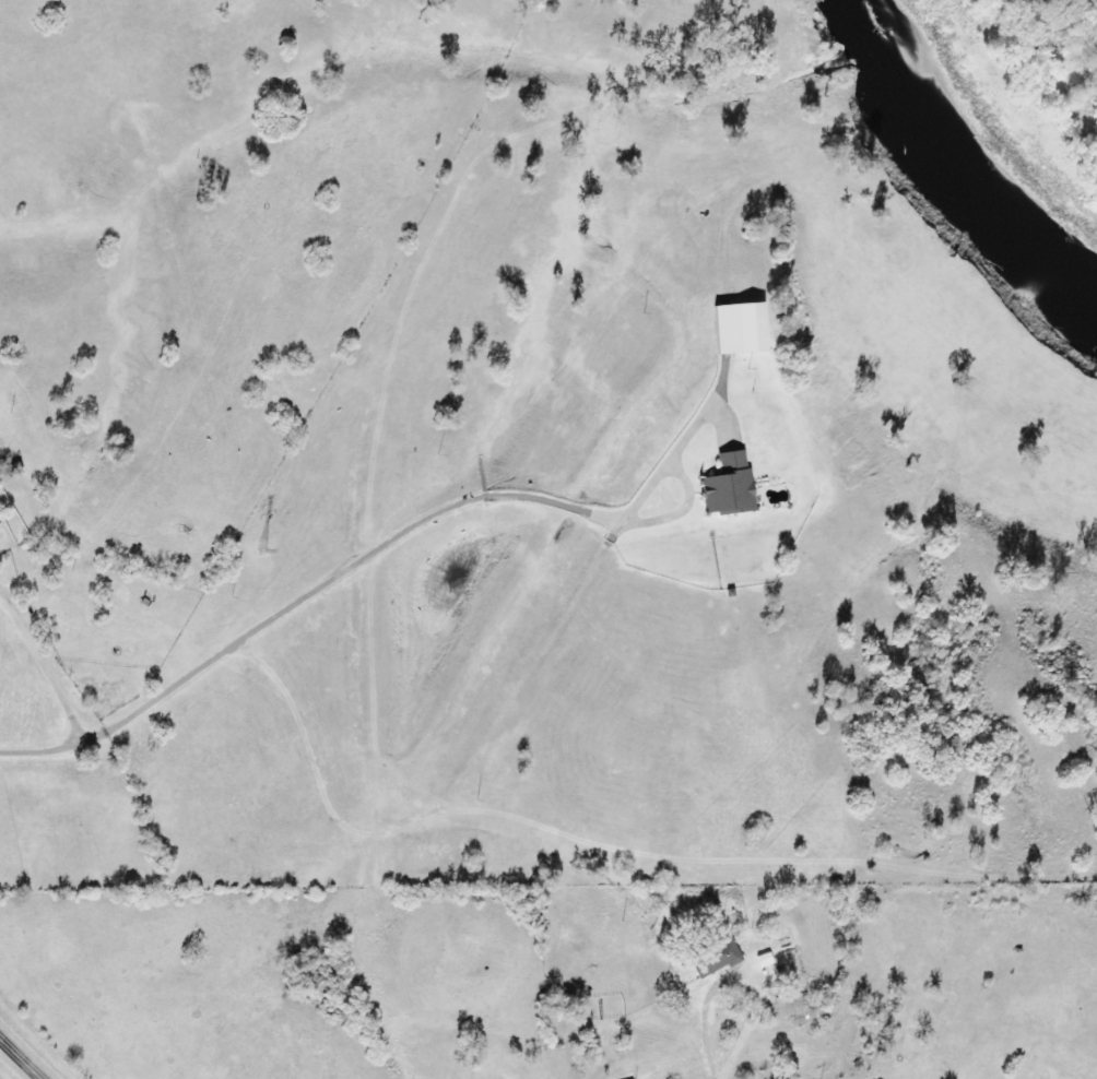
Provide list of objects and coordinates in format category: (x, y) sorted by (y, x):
river: (979, 146)
building: (739, 328)
building: (729, 485)
building: (0, 487)
power tower: (260, 554)
road: (137, 776)
building: (716, 960)
building: (764, 960)
building: (786, 1006)
road: (20, 1058)

